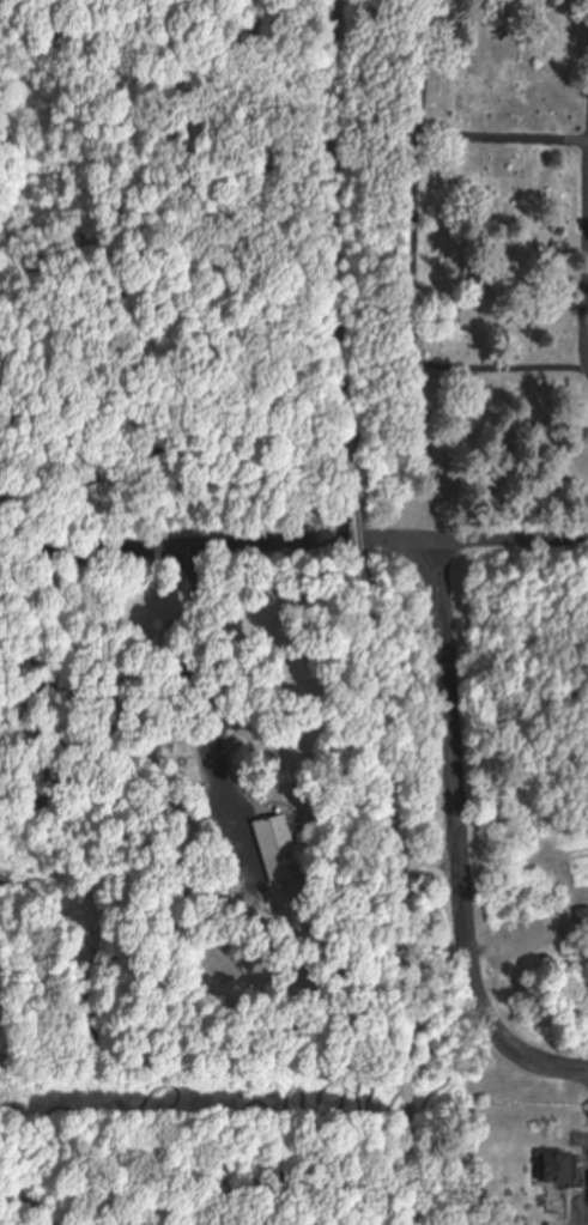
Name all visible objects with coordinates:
road: (331, 242)
park: (498, 266)
road: (351, 535)
road: (511, 539)
road: (442, 621)
building: (274, 842)
road: (395, 905)
building: (582, 920)
road: (162, 1075)
road: (283, 1094)
park: (158, 1117)
building: (553, 1168)
road: (10, 1221)

